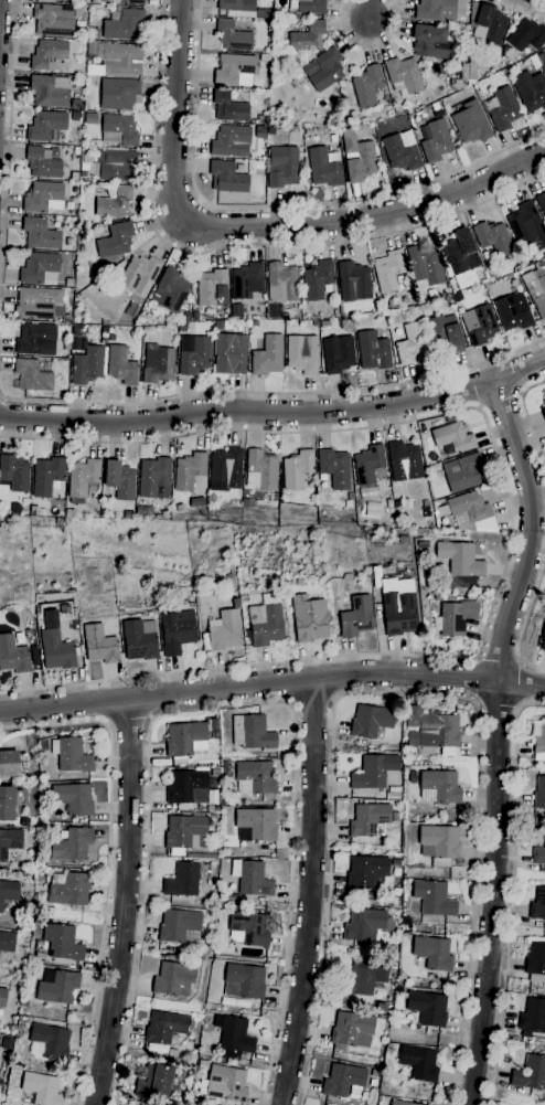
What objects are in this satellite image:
building: (61, 0)
road: (543, 0)
building: (95, 1)
building: (129, 2)
building: (236, 4)
building: (307, 7)
building: (432, 9)
road: (368, 10)
building: (264, 13)
building: (54, 20)
building: (124, 24)
building: (487, 24)
building: (94, 33)
building: (233, 35)
building: (308, 36)
building: (526, 36)
building: (431, 41)
road: (368, 45)
building: (93, 47)
building: (49, 55)
building: (121, 59)
building: (235, 70)
building: (323, 70)
building: (403, 75)
building: (466, 75)
building: (366, 86)
building: (50, 91)
building: (531, 91)
building: (118, 94)
building: (76, 104)
building: (229, 108)
building: (502, 108)
building: (76, 116)
building: (90, 118)
building: (260, 119)
building: (348, 120)
building: (338, 123)
building: (471, 124)
building: (45, 126)
building: (118, 130)
building: (308, 132)
building: (231, 141)
building: (435, 141)
building: (76, 150)
building: (400, 153)
building: (357, 158)
road: (8, 159)
building: (42, 163)
building: (259, 164)
building: (117, 166)
building: (281, 167)
building: (324, 167)
building: (227, 177)
building: (43, 198)
building: (114, 201)
building: (541, 203)
road: (278, 206)
road: (257, 225)
building: (527, 226)
building: (40, 234)
building: (493, 237)
building: (116, 240)
road: (235, 247)
building: (460, 253)
building: (526, 259)
building: (425, 266)
building: (39, 267)
building: (388, 270)
building: (139, 275)
building: (247, 280)
building: (317, 280)
building: (353, 281)
building: (68, 283)
building: (281, 283)
building: (211, 287)
building: (536, 288)
building: (170, 290)
building: (40, 304)
building: (389, 304)
building: (237, 310)
building: (275, 311)
building: (335, 314)
building: (511, 315)
building: (195, 317)
building: (186, 319)
building: (218, 325)
building: (321, 325)
building: (479, 325)
building: (182, 327)
building: (104, 329)
building: (445, 332)
building: (36, 338)
building: (410, 344)
building: (373, 351)
building: (231, 353)
building: (193, 354)
building: (301, 354)
building: (336, 354)
building: (267, 355)
building: (87, 365)
building: (158, 365)
building: (121, 366)
building: (33, 373)
road: (272, 392)
road: (520, 393)
building: (544, 394)
road: (2, 397)
road: (499, 397)
building: (544, 403)
road: (479, 406)
building: (544, 412)
road: (275, 414)
road: (527, 422)
building: (453, 437)
building: (405, 461)
building: (370, 466)
building: (334, 468)
building: (297, 469)
building: (226, 470)
building: (260, 470)
building: (189, 471)
building: (15, 472)
building: (461, 472)
building: (46, 476)
building: (84, 477)
building: (154, 478)
building: (119, 480)
building: (350, 497)
building: (197, 502)
building: (389, 502)
building: (246, 503)
building: (425, 504)
building: (180, 508)
building: (145, 511)
building: (471, 512)
building: (129, 516)
road: (510, 531)
building: (417, 532)
building: (403, 540)
building: (423, 545)
building: (464, 562)
building: (241, 563)
building: (398, 607)
building: (354, 618)
building: (455, 618)
building: (309, 619)
building: (266, 625)
road: (526, 627)
building: (177, 631)
building: (223, 631)
building: (542, 638)
building: (138, 641)
building: (99, 645)
building: (56, 650)
building: (13, 656)
road: (498, 660)
road: (478, 680)
road: (271, 682)
road: (520, 683)
road: (404, 693)
road: (310, 702)
road: (498, 706)
road: (227, 708)
road: (128, 721)
building: (372, 721)
building: (434, 729)
building: (254, 734)
building: (214, 735)
road: (498, 739)
building: (185, 742)
building: (539, 744)
building: (71, 755)
building: (9, 764)
building: (373, 772)
building: (256, 779)
building: (185, 786)
building: (439, 787)
building: (539, 794)
building: (73, 799)
building: (9, 803)
building: (223, 804)
building: (394, 817)
building: (368, 820)
building: (257, 824)
building: (407, 828)
building: (183, 831)
building: (10, 842)
building: (439, 844)
building: (72, 846)
building: (538, 854)
road: (107, 862)
building: (396, 862)
building: (367, 873)
building: (252, 879)
building: (182, 880)
building: (68, 889)
building: (9, 892)
road: (310, 892)
road: (513, 893)
building: (368, 895)
building: (434, 901)
road: (125, 903)
building: (537, 905)
building: (221, 912)
building: (364, 925)
building: (180, 927)
building: (248, 929)
building: (7, 943)
building: (62, 943)
building: (392, 949)
building: (432, 953)
building: (40, 956)
building: (536, 963)
building: (363, 978)
building: (174, 979)
building: (244, 981)
building: (57, 987)
building: (2, 998)
building: (23, 1002)
building: (235, 1002)
building: (381, 1008)
building: (427, 1008)
building: (383, 1018)
building: (20, 1019)
building: (533, 1019)
building: (164, 1028)
building: (352, 1030)
building: (233, 1038)
building: (51, 1041)
building: (7, 1043)
building: (173, 1053)
building: (419, 1063)
building: (203, 1064)
building: (374, 1073)
building: (530, 1073)
building: (180, 1075)
building: (342, 1081)
building: (156, 1082)
building: (226, 1084)
building: (41, 1088)
building: (398, 1103)

